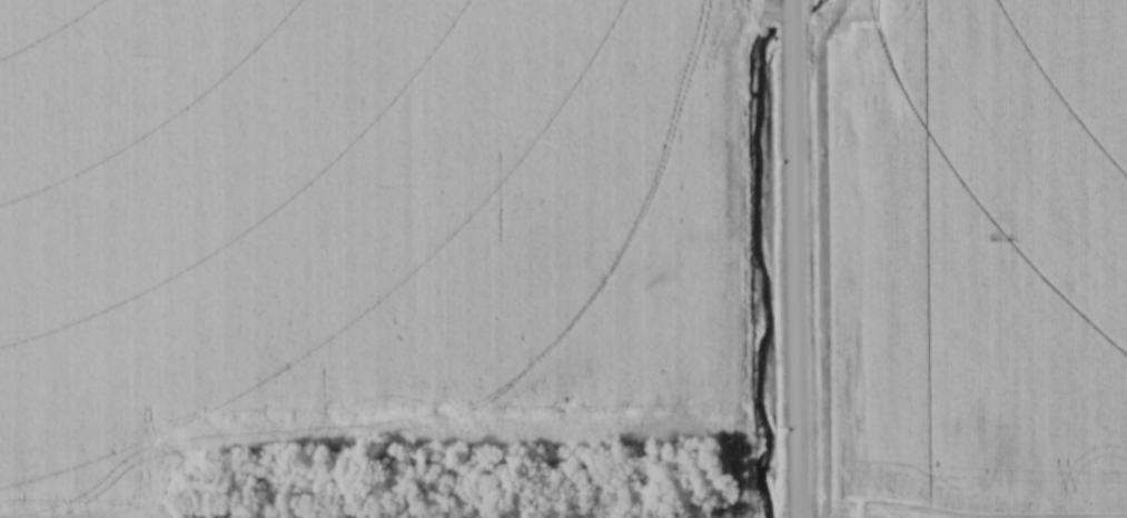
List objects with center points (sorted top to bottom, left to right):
road: (793, 259)

